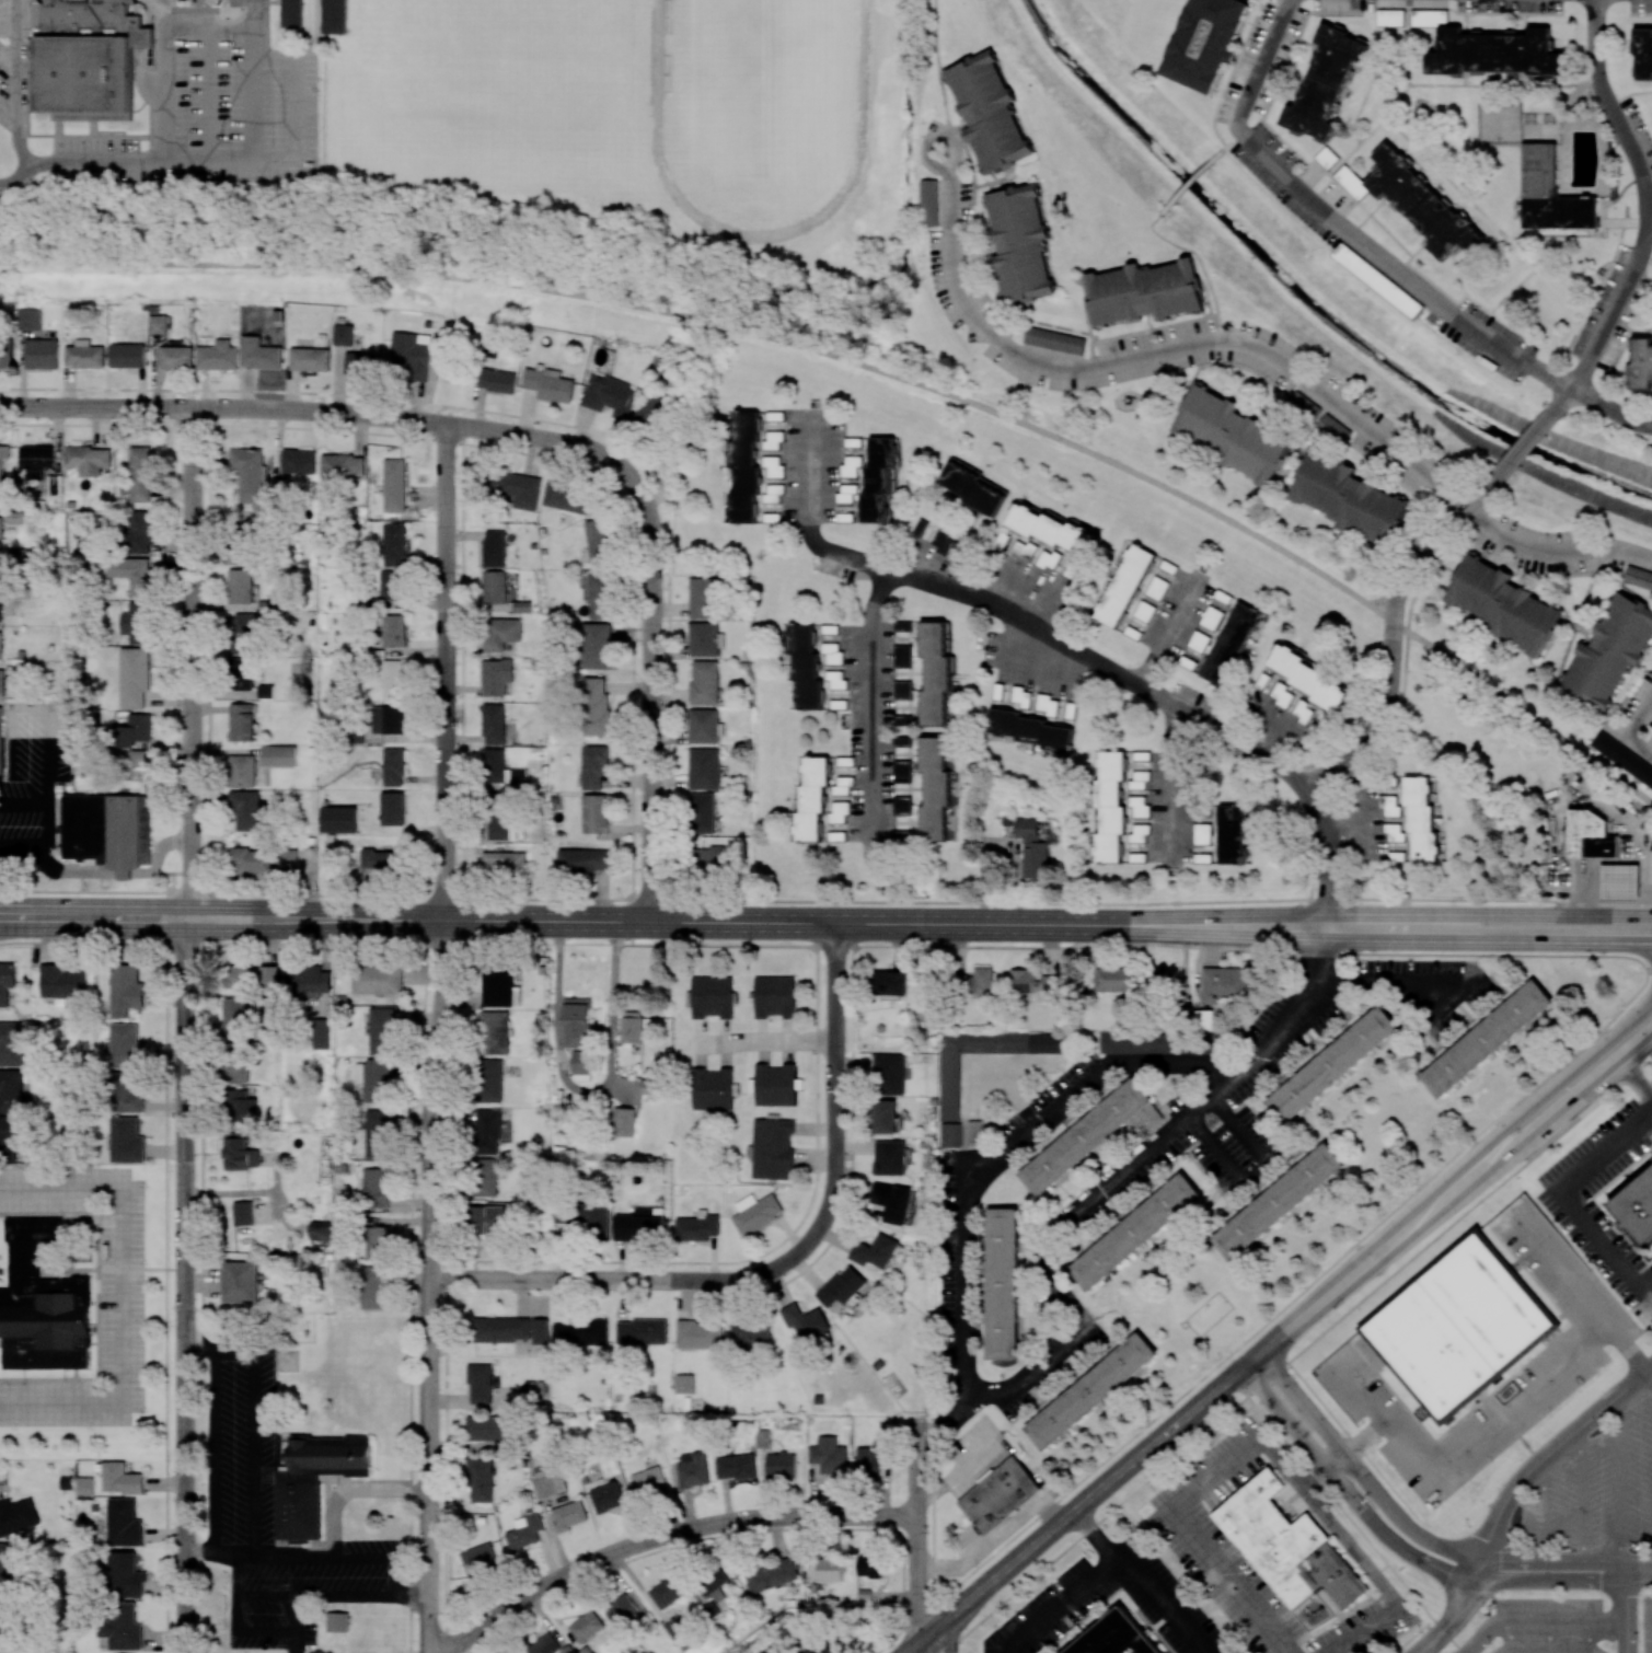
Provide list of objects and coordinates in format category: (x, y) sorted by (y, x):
parking lot: (243, 2)
road: (249, 7)
road: (184, 9)
building: (291, 13)
building: (334, 16)
building: (1390, 18)
building: (1429, 18)
road: (315, 35)
building: (1206, 42)
road: (164, 50)
building: (1493, 51)
building: (1642, 54)
building: (86, 59)
road: (26, 67)
road: (940, 76)
building: (1325, 82)
parking lot: (5, 85)
park: (760, 88)
road: (207, 93)
road: (18, 104)
road: (294, 106)
road: (1610, 107)
track: (759, 108)
parking lot: (212, 111)
building: (987, 112)
road: (74, 135)
road: (102, 136)
road: (1233, 140)
building: (1327, 158)
road: (220, 159)
road: (1192, 182)
building: (1550, 193)
building: (928, 201)
building: (1419, 201)
road: (1649, 207)
road: (1649, 216)
road: (1342, 227)
building: (1019, 243)
road: (1201, 264)
building: (1377, 280)
building: (1144, 292)
river: (1303, 296)
road: (1609, 316)
building: (28, 319)
building: (158, 324)
building: (344, 334)
building: (1054, 340)
building: (262, 352)
building: (41, 354)
road: (1152, 354)
building: (84, 355)
building: (127, 355)
building: (415, 355)
building: (5, 356)
building: (175, 357)
building: (217, 357)
building: (309, 359)
building: (360, 363)
building: (1639, 365)
road: (879, 369)
building: (496, 380)
building: (550, 384)
building: (610, 396)
building: (1304, 405)
road: (1611, 408)
road: (304, 412)
building: (651, 412)
building: (1332, 428)
road: (348, 434)
building: (1231, 435)
building: (773, 440)
road: (1523, 447)
building: (34, 460)
building: (88, 460)
building: (298, 461)
building: (342, 465)
building: (851, 465)
building: (744, 466)
building: (773, 466)
building: (1, 471)
building: (247, 473)
building: (140, 474)
building: (878, 481)
building: (54, 484)
building: (393, 485)
building: (515, 488)
building: (972, 488)
building: (847, 493)
road: (1480, 493)
building: (773, 494)
building: (566, 497)
building: (3, 498)
building: (1348, 498)
building: (1048, 527)
building: (0, 531)
building: (138, 533)
road: (668, 539)
building: (598, 540)
building: (943, 541)
building: (393, 544)
building: (494, 548)
road: (1552, 552)
building: (1035, 554)
building: (132, 574)
building: (1638, 577)
building: (240, 586)
building: (391, 586)
building: (1124, 586)
building: (494, 587)
building: (1157, 588)
building: (598, 596)
building: (705, 598)
building: (1503, 604)
building: (0, 605)
building: (1144, 611)
building: (136, 623)
building: (393, 631)
road: (1169, 632)
building: (243, 633)
building: (500, 633)
building: (704, 638)
building: (1199, 641)
building: (1231, 644)
building: (0, 645)
building: (597, 645)
road: (1067, 645)
road: (1390, 650)
building: (1609, 651)
building: (903, 656)
building: (527, 661)
road: (190, 664)
building: (805, 667)
road: (446, 672)
building: (240, 673)
building: (935, 673)
building: (134, 677)
building: (496, 677)
building: (392, 679)
road: (650, 680)
building: (835, 680)
building: (1310, 680)
building: (704, 682)
building: (1, 683)
building: (902, 690)
building: (266, 691)
building: (1282, 694)
building: (594, 706)
building: (1303, 712)
road: (871, 715)
road: (1639, 716)
building: (386, 719)
building: (902, 720)
building: (241, 723)
building: (494, 724)
building: (705, 727)
building: (131, 730)
building: (1030, 730)
road: (49, 735)
building: (355, 735)
building: (902, 741)
building: (0, 743)
road: (1639, 743)
building: (278, 754)
building: (139, 758)
building: (1622, 758)
building: (393, 766)
building: (593, 766)
building: (705, 770)
building: (242, 771)
building: (501, 771)
building: (902, 771)
building: (1137, 779)
road: (1171, 784)
building: (841, 787)
building: (936, 790)
building: (811, 798)
building: (902, 805)
road: (24, 807)
building: (1139, 807)
building: (1390, 807)
building: (392, 808)
building: (245, 809)
building: (1110, 810)
building: (702, 812)
building: (839, 812)
building: (594, 813)
building: (1421, 818)
building: (338, 819)
building: (500, 827)
building: (103, 830)
building: (1395, 832)
building: (1139, 833)
building: (1202, 834)
building: (1232, 834)
building: (1592, 834)
road: (42, 845)
building: (1032, 847)
building: (145, 851)
building: (251, 859)
building: (287, 859)
building: (708, 859)
building: (381, 860)
building: (584, 860)
building: (1139, 860)
building: (507, 862)
building: (1620, 880)
gas station: (1620, 880)
road: (1390, 913)
road: (222, 921)
road: (788, 922)
road: (1380, 940)
road: (1641, 943)
road: (1642, 947)
building: (252, 975)
building: (378, 978)
building: (1113, 979)
building: (62, 980)
building: (1160, 980)
building: (5, 981)
building: (307, 982)
building: (1033, 982)
road: (1386, 982)
building: (977, 983)
building: (889, 984)
building: (1224, 984)
building: (497, 987)
building: (126, 990)
building: (712, 996)
building: (775, 996)
road: (1647, 1006)
road: (1647, 1007)
building: (238, 1018)
building: (1205, 1019)
building: (578, 1022)
building: (632, 1026)
building: (381, 1031)
building: (495, 1032)
building: (320, 1033)
building: (1483, 1037)
building: (10, 1043)
road: (765, 1043)
building: (1141, 1043)
building: (127, 1045)
road: (834, 1060)
building: (580, 1061)
building: (1335, 1063)
road: (1578, 1066)
building: (236, 1072)
building: (890, 1074)
building: (373, 1079)
building: (489, 1080)
building: (775, 1085)
road: (1636, 1085)
building: (648, 1086)
building: (949, 1087)
building: (712, 1088)
building: (11, 1090)
road: (588, 1094)
building: (240, 1106)
road: (1570, 1108)
building: (882, 1116)
building: (623, 1121)
building: (487, 1131)
building: (978, 1132)
building: (376, 1133)
building: (950, 1134)
building: (1083, 1135)
building: (10, 1137)
building: (127, 1141)
building: (772, 1148)
building: (240, 1153)
road: (1006, 1153)
building: (889, 1157)
road: (1249, 1168)
road: (1460, 1172)
building: (483, 1177)
road: (1109, 1187)
building: (374, 1188)
building: (1280, 1201)
road: (1446, 1201)
road: (1569, 1201)
building: (892, 1202)
building: (1638, 1207)
building: (243, 1213)
building: (758, 1214)
building: (493, 1218)
building: (586, 1218)
building: (639, 1224)
building: (697, 1226)
building: (322, 1230)
building: (1134, 1232)
building: (377, 1241)
building: (874, 1251)
road: (650, 1281)
building: (240, 1282)
building: (1000, 1284)
road: (186, 1286)
building: (371, 1286)
road: (430, 1286)
building: (842, 1286)
road: (1578, 1288)
road: (122, 1296)
road: (1326, 1297)
building: (42, 1304)
road: (1272, 1316)
building: (806, 1321)
building: (1455, 1326)
building: (541, 1328)
building: (640, 1331)
building: (580, 1333)
building: (698, 1334)
building: (750, 1334)
road: (199, 1344)
road: (232, 1349)
road: (1294, 1356)
parking lot: (1573, 1359)
building: (685, 1382)
building: (480, 1384)
building: (534, 1391)
building: (1089, 1392)
building: (489, 1427)
road: (1355, 1444)
road: (1460, 1450)
building: (829, 1456)
building: (867, 1461)
building: (781, 1465)
building: (735, 1467)
building: (692, 1469)
road: (1329, 1470)
road: (1361, 1472)
road: (1522, 1478)
building: (120, 1479)
building: (482, 1480)
road: (1316, 1480)
building: (312, 1481)
building: (647, 1481)
road: (1619, 1481)
building: (548, 1483)
building: (84, 1486)
road: (348, 1490)
road: (1583, 1492)
parking lot: (1598, 1492)
building: (998, 1494)
building: (608, 1496)
road: (1170, 1508)
road: (1075, 1511)
road: (1540, 1511)
building: (16, 1515)
building: (569, 1515)
building: (124, 1523)
building: (524, 1531)
road: (919, 1531)
building: (1268, 1533)
road: (669, 1535)
road: (1467, 1541)
road: (1510, 1545)
building: (480, 1560)
road: (1556, 1562)
road: (1431, 1564)
building: (4, 1565)
building: (868, 1565)
building: (829, 1570)
road: (1640, 1570)
road: (403, 1572)
road: (1456, 1573)
building: (771, 1574)
building: (1331, 1574)
building: (125, 1575)
road: (1143, 1575)
road: (1552, 1581)
road: (1380, 1583)
building: (713, 1584)
building: (666, 1592)
road: (1449, 1592)
road: (1477, 1604)
road: (1059, 1606)
building: (621, 1610)
road: (1628, 1611)
building: (4, 1621)
building: (337, 1621)
parking lot: (1647, 1622)
road: (1540, 1623)
building: (586, 1626)
parking lot: (1543, 1626)
building: (120, 1627)
road: (954, 1633)
building: (1116, 1637)
road: (1511, 1638)
road: (1549, 1638)
road: (1590, 1638)
road: (933, 1641)
road: (1432, 1642)
building: (544, 1644)
building: (819, 1648)
building: (511, 1651)
road: (1466, 1652)

